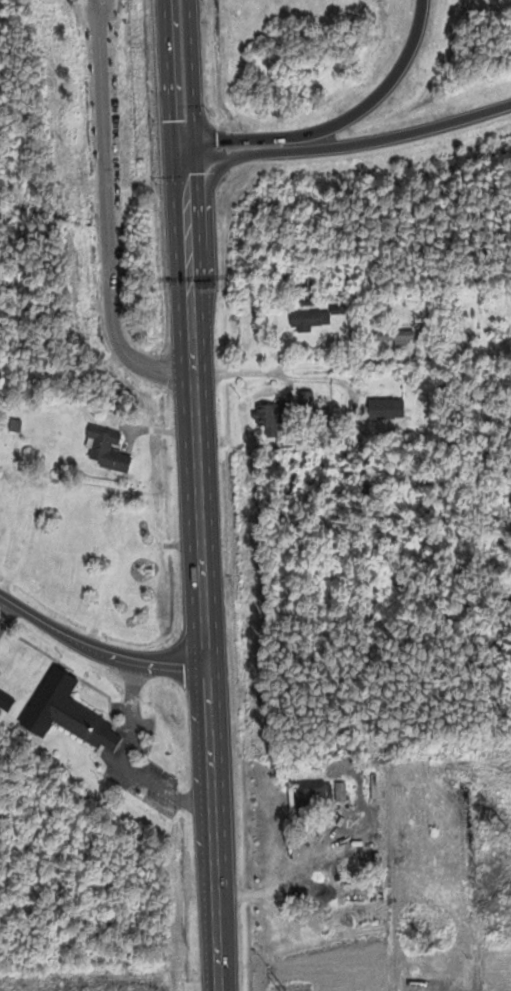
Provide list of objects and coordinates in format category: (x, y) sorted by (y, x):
road: (338, 121)
road: (351, 143)
traffic signals: (188, 149)
building: (304, 281)
building: (307, 319)
building: (395, 336)
road: (314, 368)
building: (386, 408)
building: (270, 417)
building: (107, 450)
road: (199, 495)
building: (117, 532)
road: (96, 649)
building: (64, 711)
building: (320, 793)

